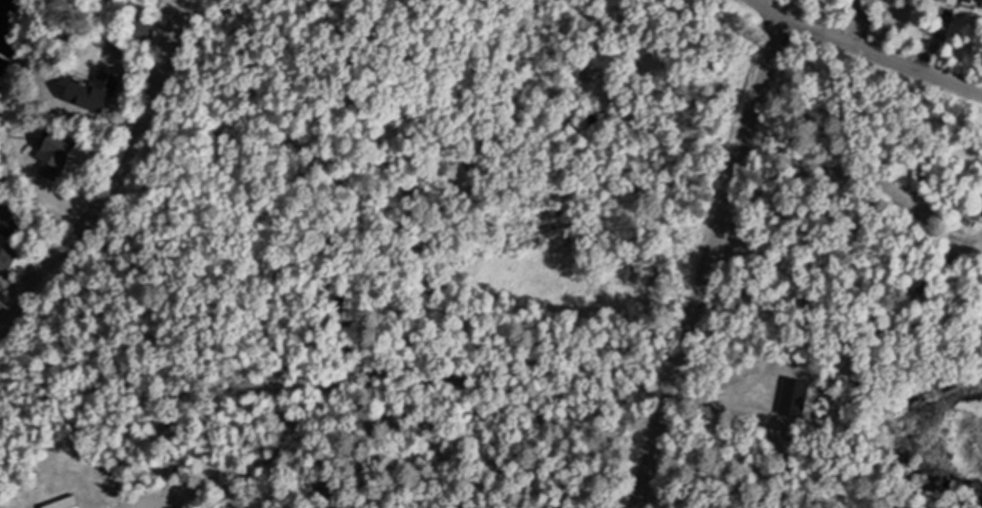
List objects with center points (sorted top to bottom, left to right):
building: (955, 1)
building: (975, 1)
road: (864, 53)
building: (96, 92)
building: (47, 162)
road: (118, 175)
building: (12, 221)
road: (706, 263)
building: (67, 503)

